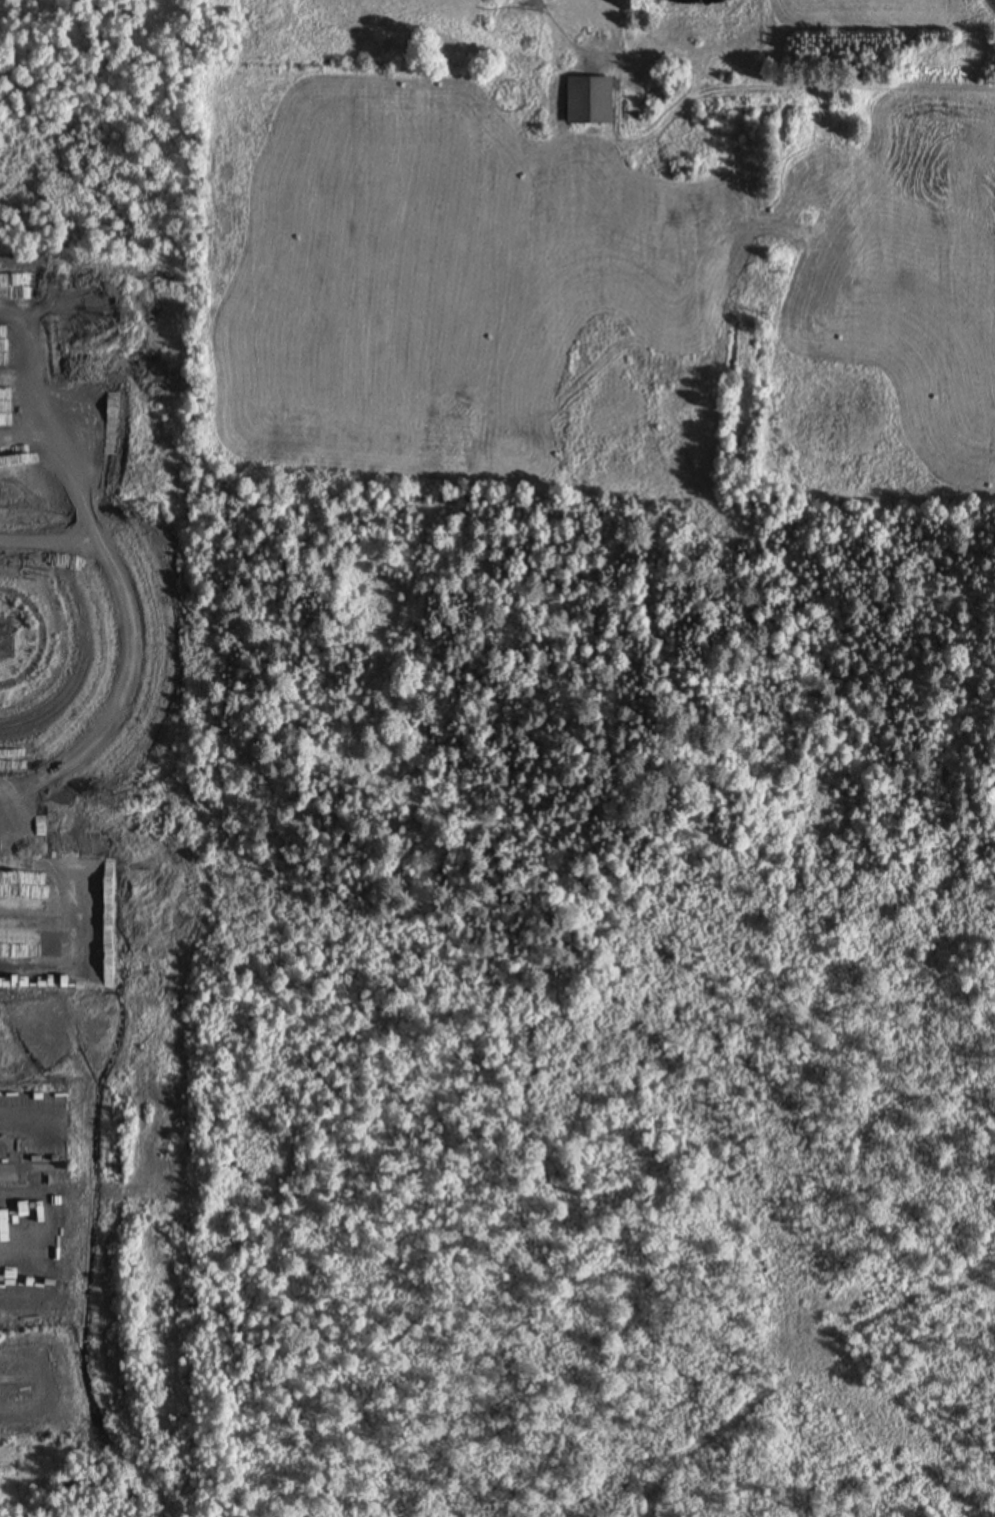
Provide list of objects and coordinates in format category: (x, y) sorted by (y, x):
building: (587, 101)
building: (18, 1222)

